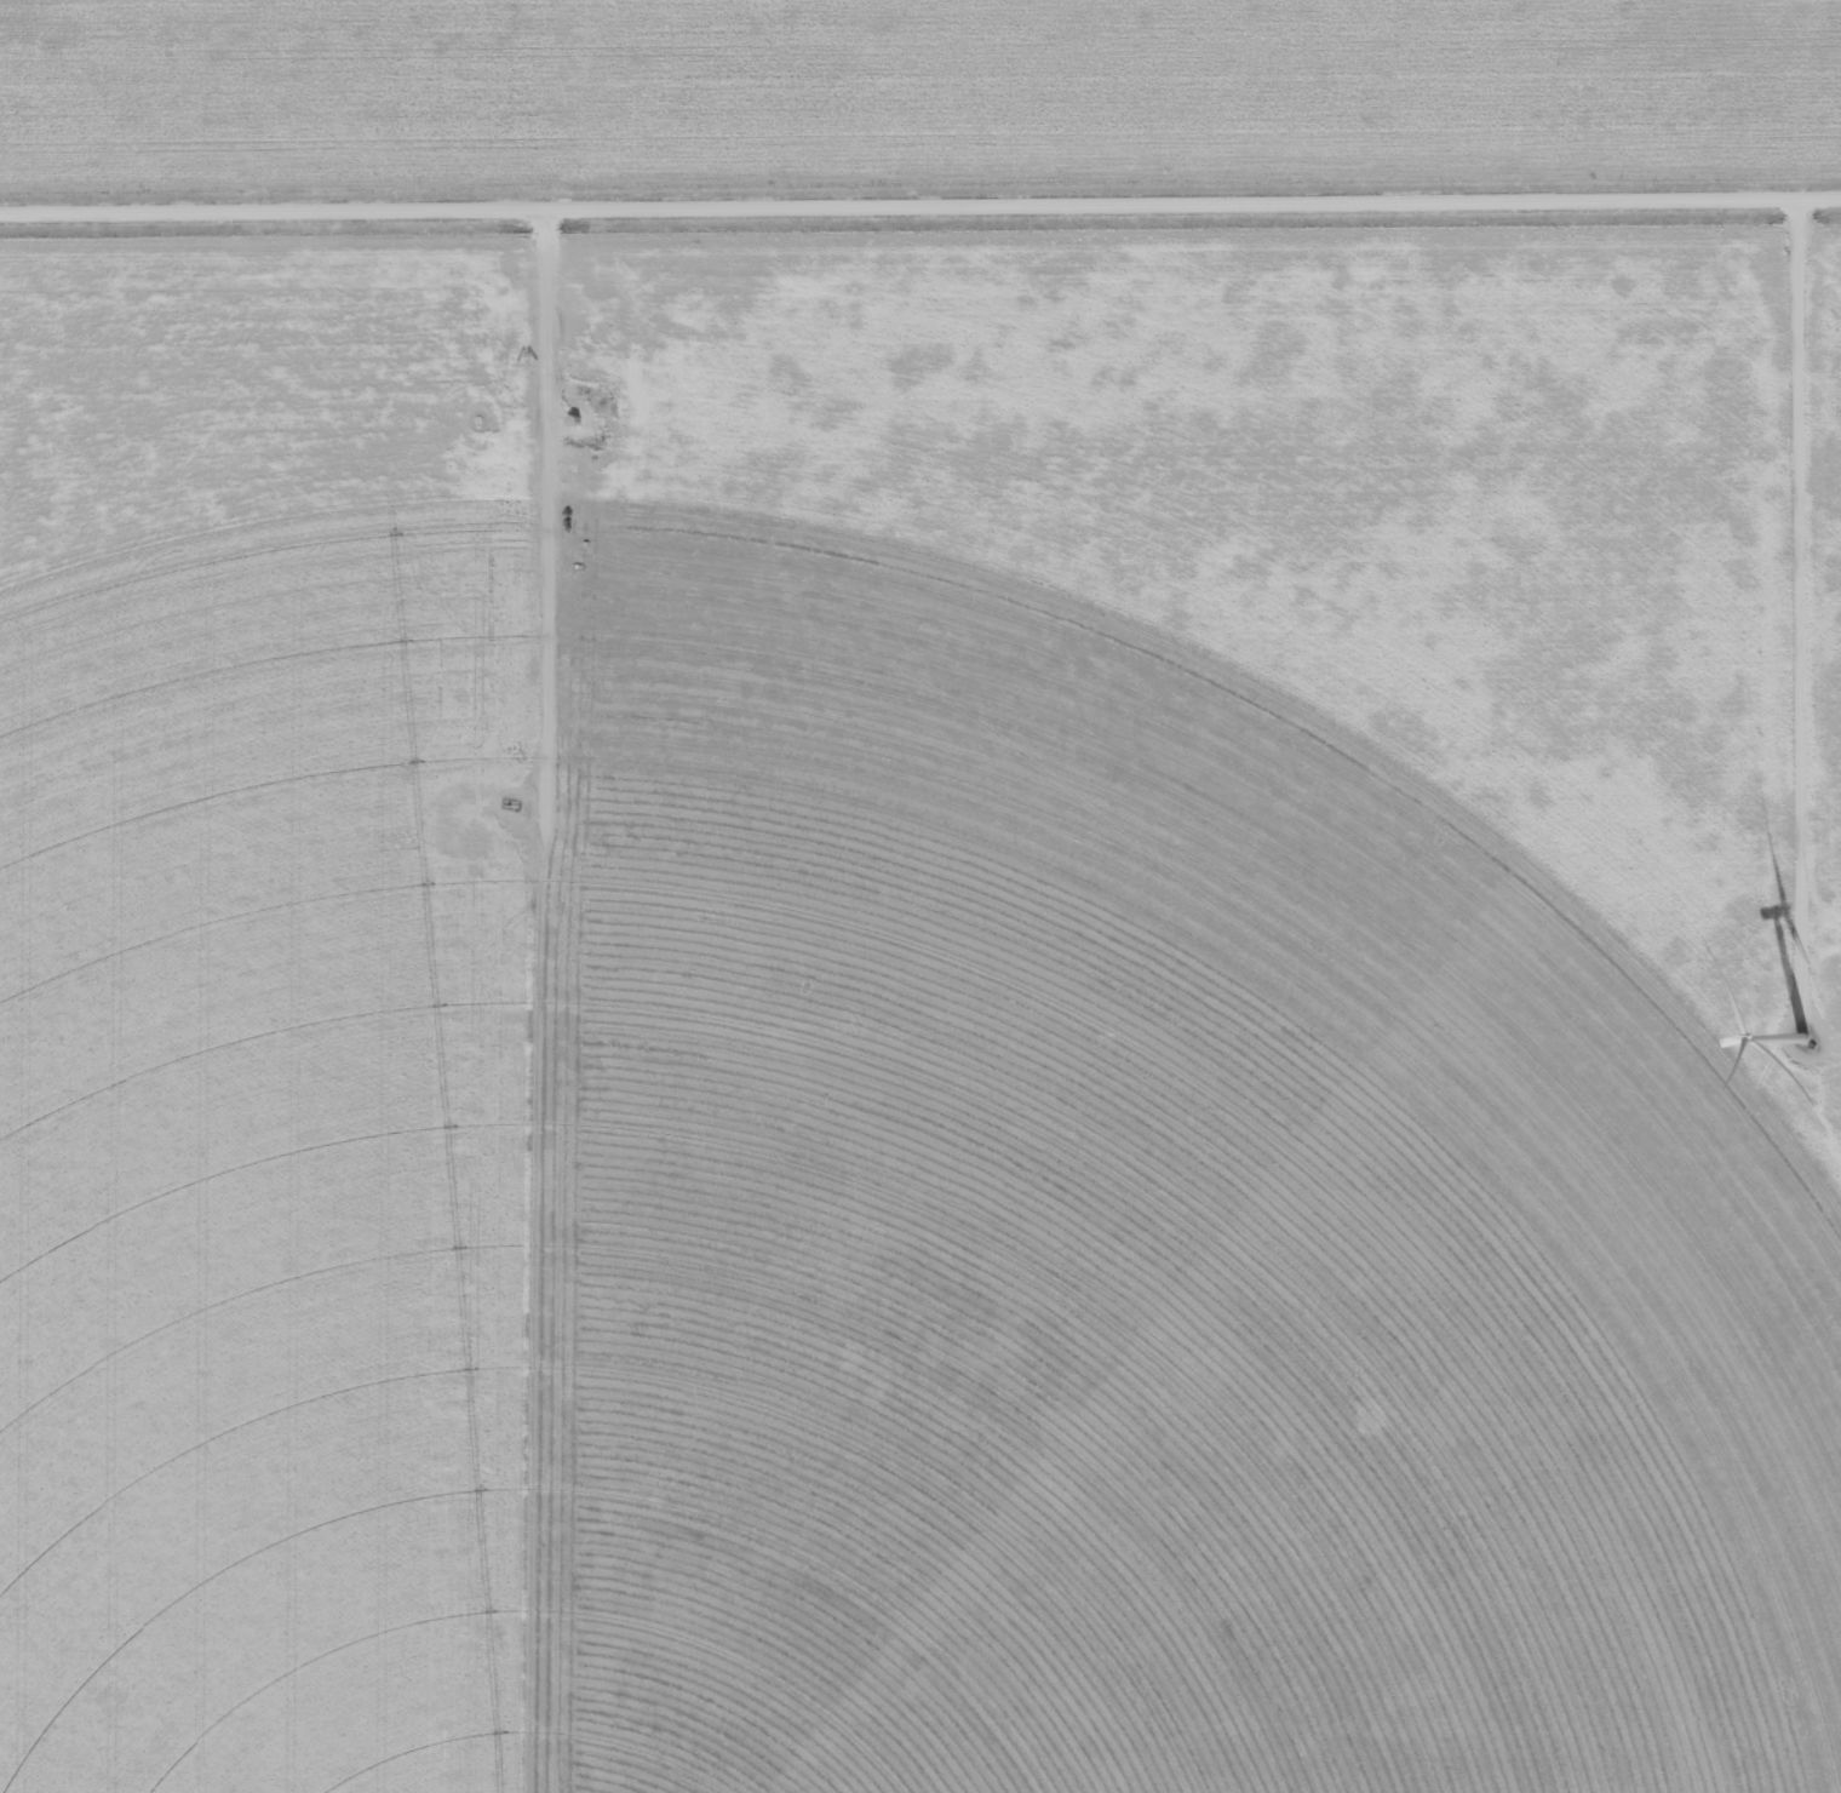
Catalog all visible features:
road: (920, 200)
wind turbine: (1796, 1037)

